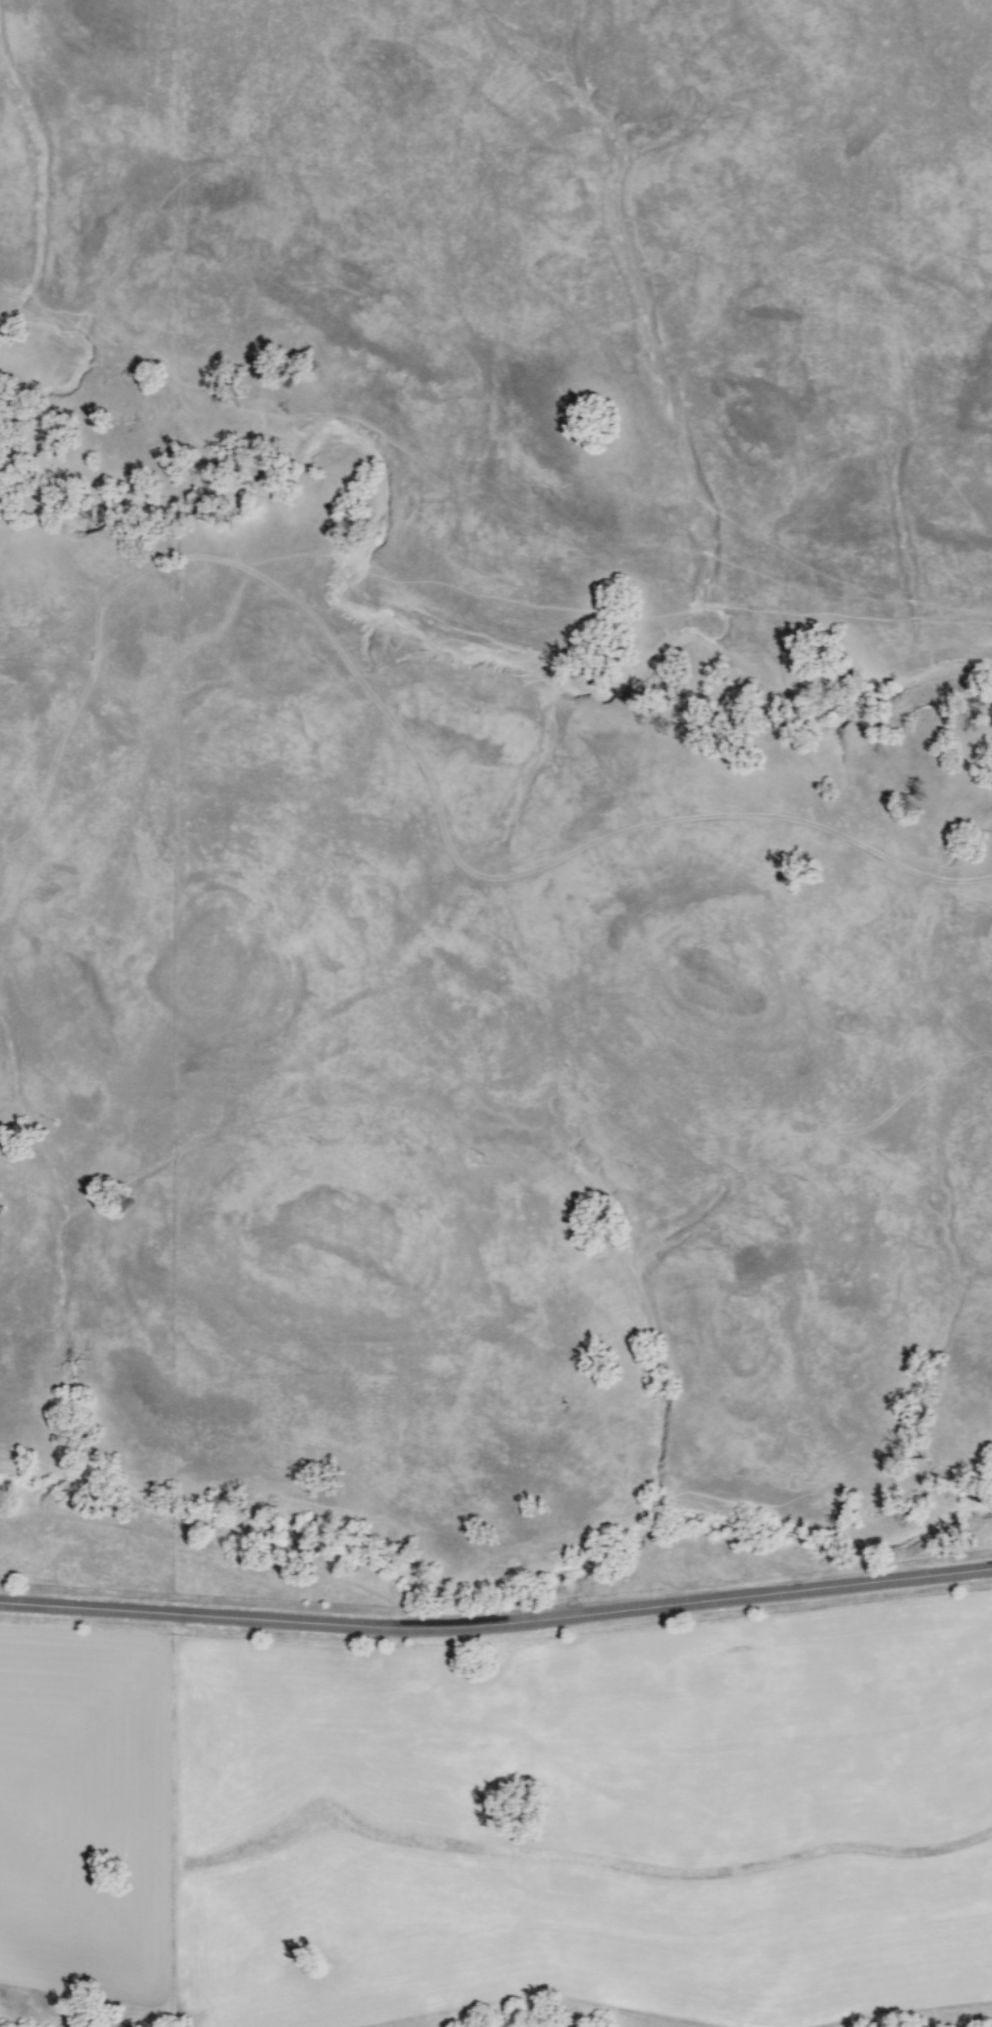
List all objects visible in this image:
road: (497, 1623)

